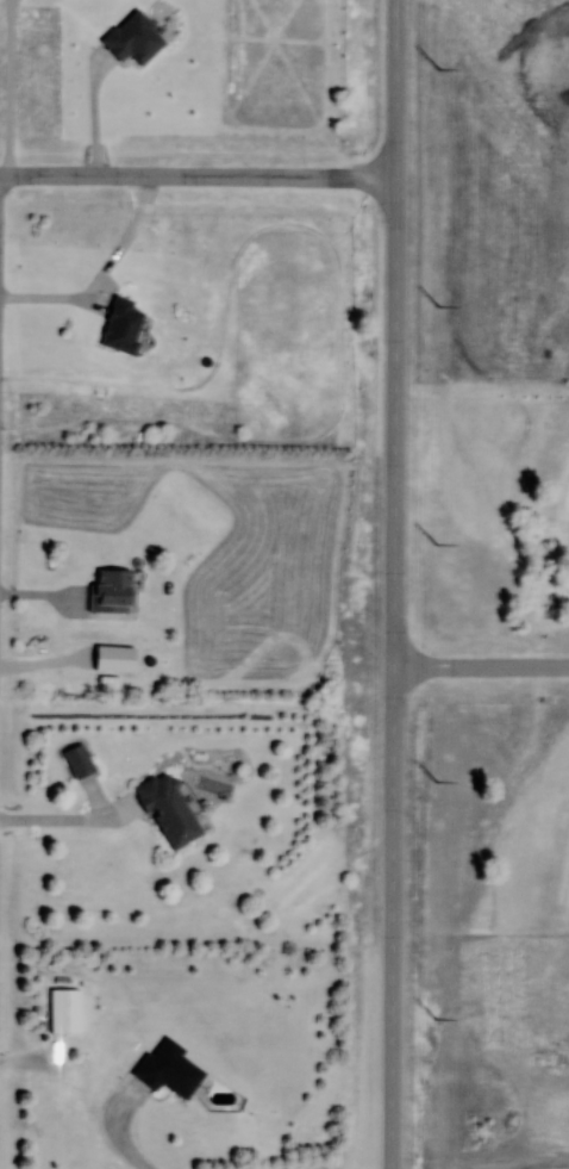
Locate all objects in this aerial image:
power tower: (439, 69)
road: (11, 87)
road: (95, 116)
road: (198, 178)
road: (101, 278)
power tower: (439, 305)
building: (121, 324)
power tower: (437, 545)
road: (393, 584)
building: (110, 589)
road: (481, 667)
building: (79, 761)
power tower: (437, 783)
building: (168, 812)
road: (63, 821)
building: (64, 1012)
power tower: (437, 1019)
building: (169, 1068)
road: (120, 1134)

